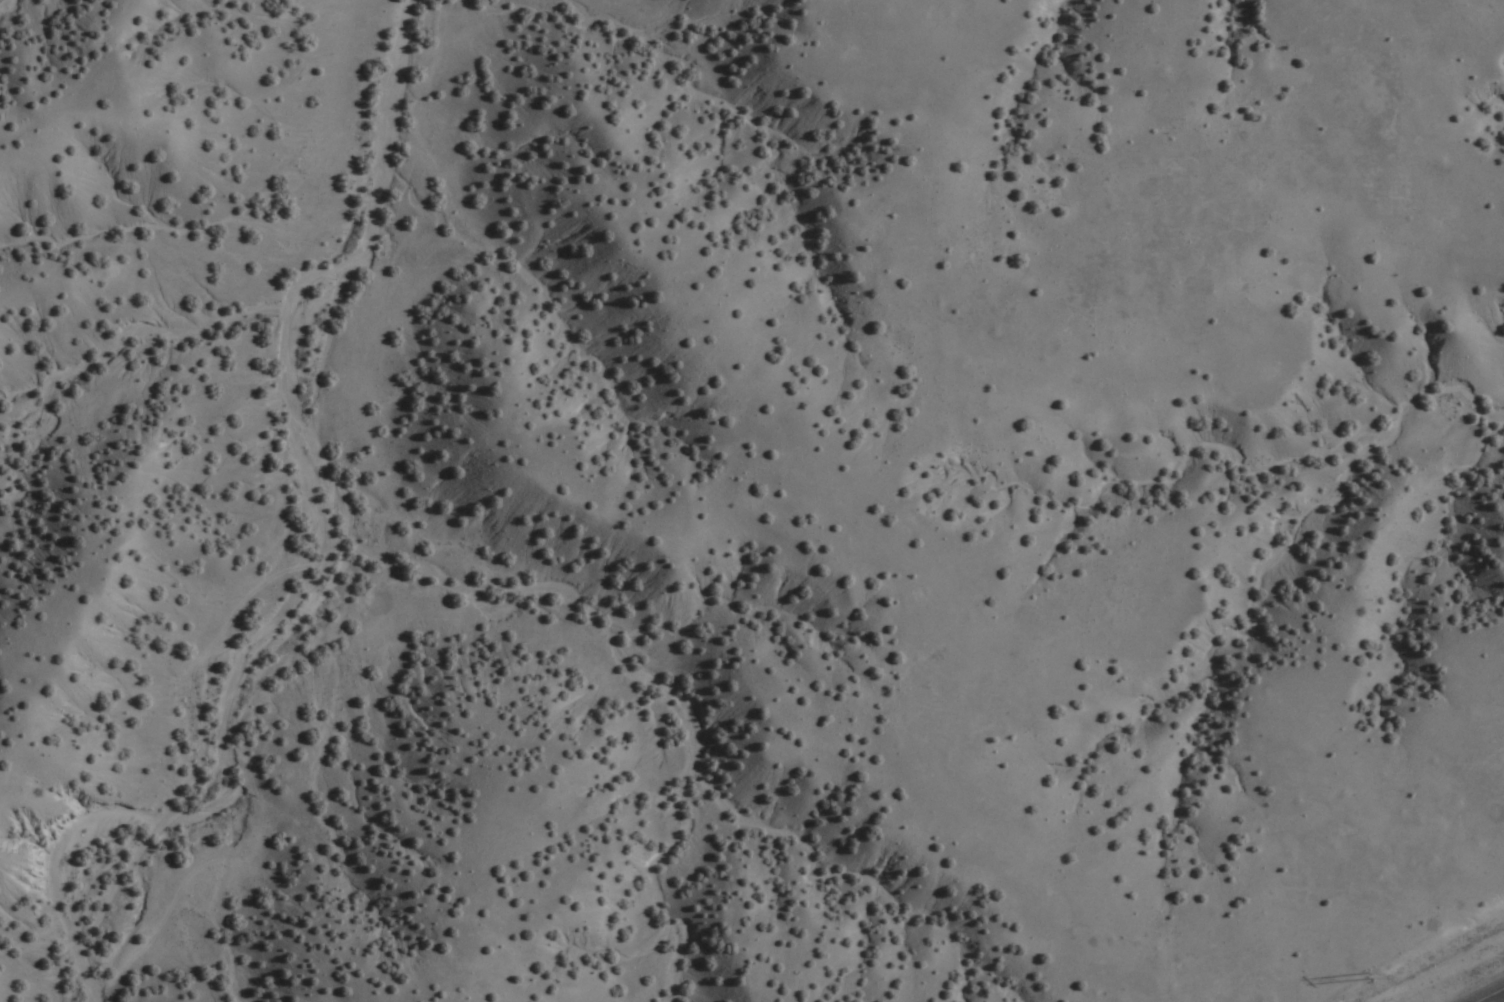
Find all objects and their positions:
road: (1503, 1001)

